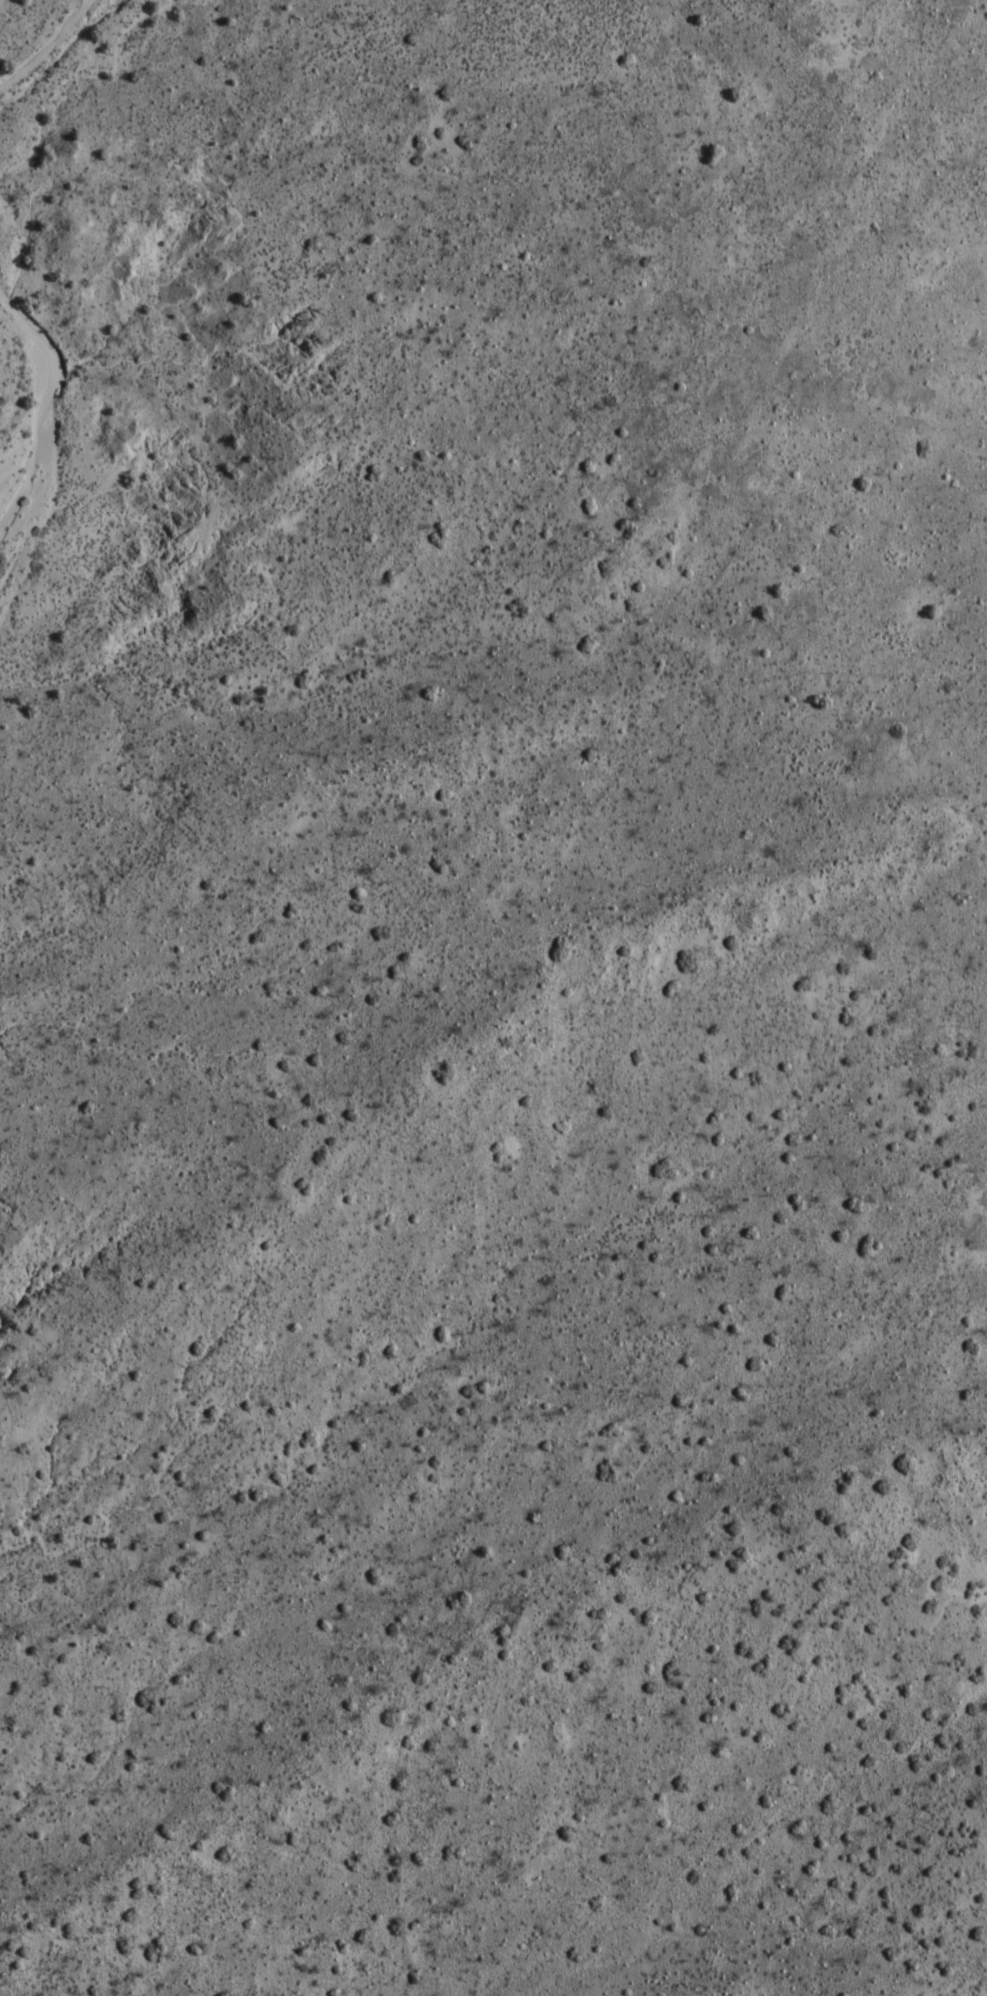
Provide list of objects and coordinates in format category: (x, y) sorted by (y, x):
road: (43, 42)

